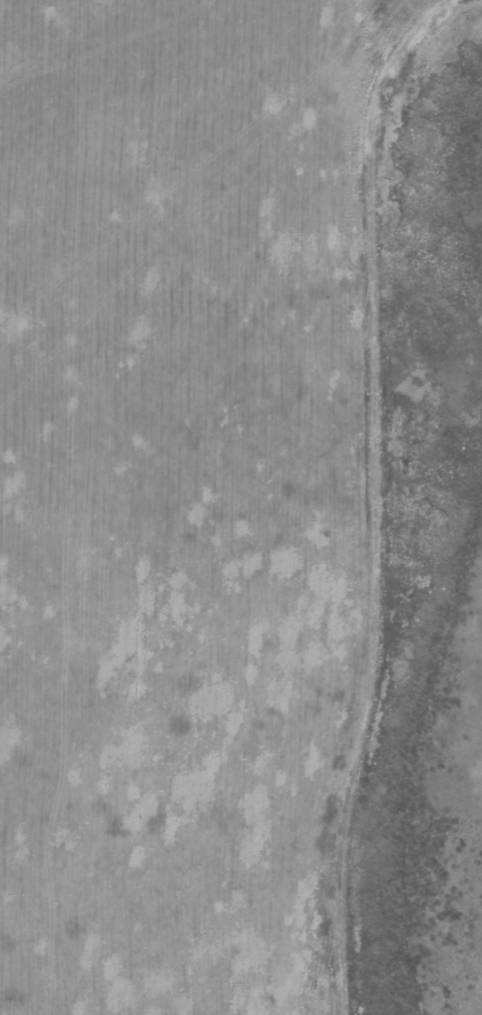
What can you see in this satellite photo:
road: (305, 235)

